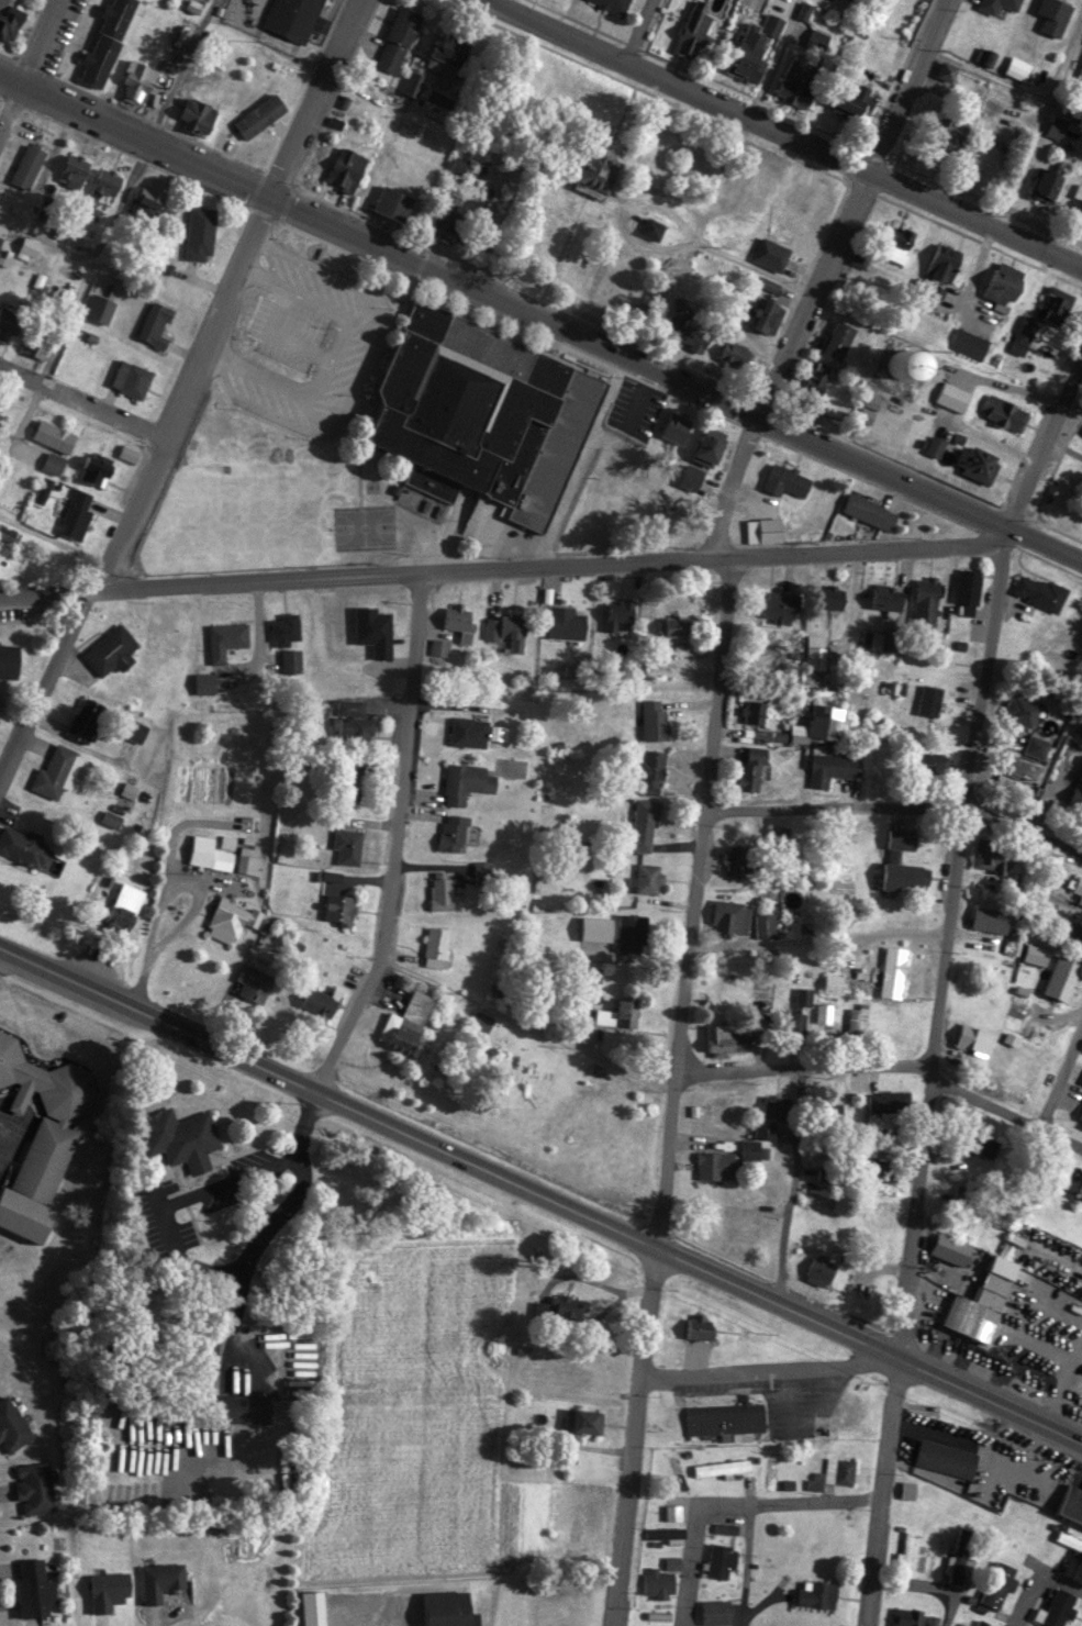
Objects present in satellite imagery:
building: (614, 4)
building: (996, 4)
road: (502, 5)
building: (1052, 14)
building: (293, 18)
building: (9, 20)
building: (695, 32)
road: (647, 36)
building: (398, 40)
building: (107, 42)
road: (45, 46)
building: (448, 55)
building: (752, 57)
road: (773, 62)
road: (177, 73)
road: (985, 74)
building: (137, 80)
building: (799, 81)
building: (413, 82)
road: (314, 101)
building: (430, 101)
building: (850, 101)
building: (197, 115)
building: (257, 115)
road: (12, 120)
road: (1037, 120)
building: (1057, 126)
building: (949, 132)
road: (776, 136)
building: (45, 153)
building: (27, 167)
building: (346, 168)
building: (75, 170)
building: (601, 171)
building: (766, 178)
building: (1047, 181)
building: (107, 182)
building: (1079, 191)
building: (814, 196)
building: (148, 198)
building: (394, 202)
road: (851, 210)
building: (1081, 215)
building: (446, 223)
building: (655, 229)
building: (200, 233)
building: (900, 243)
building: (2, 244)
building: (26, 247)
building: (771, 254)
building: (859, 256)
building: (945, 260)
building: (1004, 283)
building: (1055, 304)
building: (98, 311)
building: (768, 315)
building: (9, 323)
building: (155, 323)
road: (539, 324)
building: (687, 330)
building: (1027, 336)
building: (839, 339)
building: (35, 341)
building: (969, 343)
parking lot: (303, 346)
building: (739, 350)
building: (906, 363)
building: (131, 378)
building: (817, 382)
building: (955, 397)
road: (82, 406)
building: (1004, 412)
building: (484, 414)
building: (676, 427)
road: (1040, 433)
building: (54, 435)
building: (713, 445)
building: (936, 446)
building: (52, 463)
building: (978, 463)
building: (96, 470)
building: (787, 480)
road: (728, 489)
road: (142, 494)
building: (870, 511)
building: (76, 514)
park: (242, 516)
park: (361, 524)
building: (765, 531)
road: (994, 537)
road: (54, 543)
road: (493, 572)
building: (968, 584)
building: (1040, 590)
building: (833, 595)
building: (885, 597)
building: (925, 601)
building: (774, 604)
building: (617, 613)
building: (458, 621)
building: (566, 622)
building: (679, 623)
building: (285, 626)
building: (361, 626)
building: (506, 628)
building: (882, 637)
building: (225, 638)
building: (110, 649)
building: (815, 653)
building: (289, 661)
building: (10, 662)
building: (204, 682)
building: (928, 699)
building: (1024, 709)
building: (754, 710)
building: (86, 716)
building: (654, 717)
building: (825, 725)
building: (134, 728)
building: (356, 728)
building: (936, 730)
building: (467, 731)
building: (1079, 734)
building: (1037, 745)
building: (751, 766)
building: (829, 767)
building: (54, 770)
building: (651, 770)
building: (466, 781)
building: (1079, 787)
road: (897, 805)
building: (644, 823)
building: (453, 831)
road: (388, 840)
building: (23, 844)
building: (348, 844)
building: (209, 851)
building: (738, 855)
building: (992, 855)
building: (247, 859)
building: (908, 873)
building: (648, 877)
building: (1079, 886)
building: (440, 889)
building: (124, 905)
building: (339, 906)
building: (741, 917)
building: (991, 917)
building: (228, 918)
road: (180, 927)
building: (635, 927)
building: (1077, 927)
road: (816, 936)
building: (436, 944)
building: (893, 970)
building: (1063, 975)
building: (254, 981)
building: (833, 982)
road: (137, 983)
building: (985, 989)
building: (323, 1000)
building: (801, 1002)
building: (617, 1012)
building: (827, 1013)
building: (857, 1018)
building: (409, 1021)
road: (523, 1029)
building: (721, 1036)
building: (973, 1037)
road: (797, 1071)
road: (1060, 1084)
road: (927, 1085)
road: (669, 1093)
road: (328, 1096)
building: (729, 1099)
building: (890, 1100)
building: (778, 1104)
building: (832, 1110)
building: (1080, 1116)
road: (1004, 1122)
parking lot: (9, 1131)
building: (41, 1135)
building: (180, 1136)
building: (757, 1137)
building: (982, 1141)
building: (715, 1163)
building: (882, 1168)
road: (791, 1188)
building: (1080, 1191)
road: (261, 1217)
building: (944, 1245)
building: (819, 1269)
building: (984, 1300)
building: (572, 1305)
building: (701, 1328)
road: (869, 1345)
road: (760, 1367)
building: (250, 1407)
building: (724, 1417)
building: (585, 1418)
building: (11, 1426)
building: (947, 1457)
building: (720, 1467)
building: (838, 1470)
building: (1041, 1478)
building: (34, 1488)
building: (1070, 1501)
road: (757, 1511)
building: (662, 1533)
building: (1069, 1539)
building: (906, 1549)
building: (958, 1556)
building: (718, 1561)
road: (1035, 1575)
building: (161, 1580)
building: (658, 1581)
building: (35, 1588)
building: (994, 1592)
building: (817, 1593)
building: (314, 1607)
building: (1058, 1607)
building: (448, 1608)
building: (716, 1612)
building: (905, 1616)
building: (933, 1621)
building: (982, 1623)

